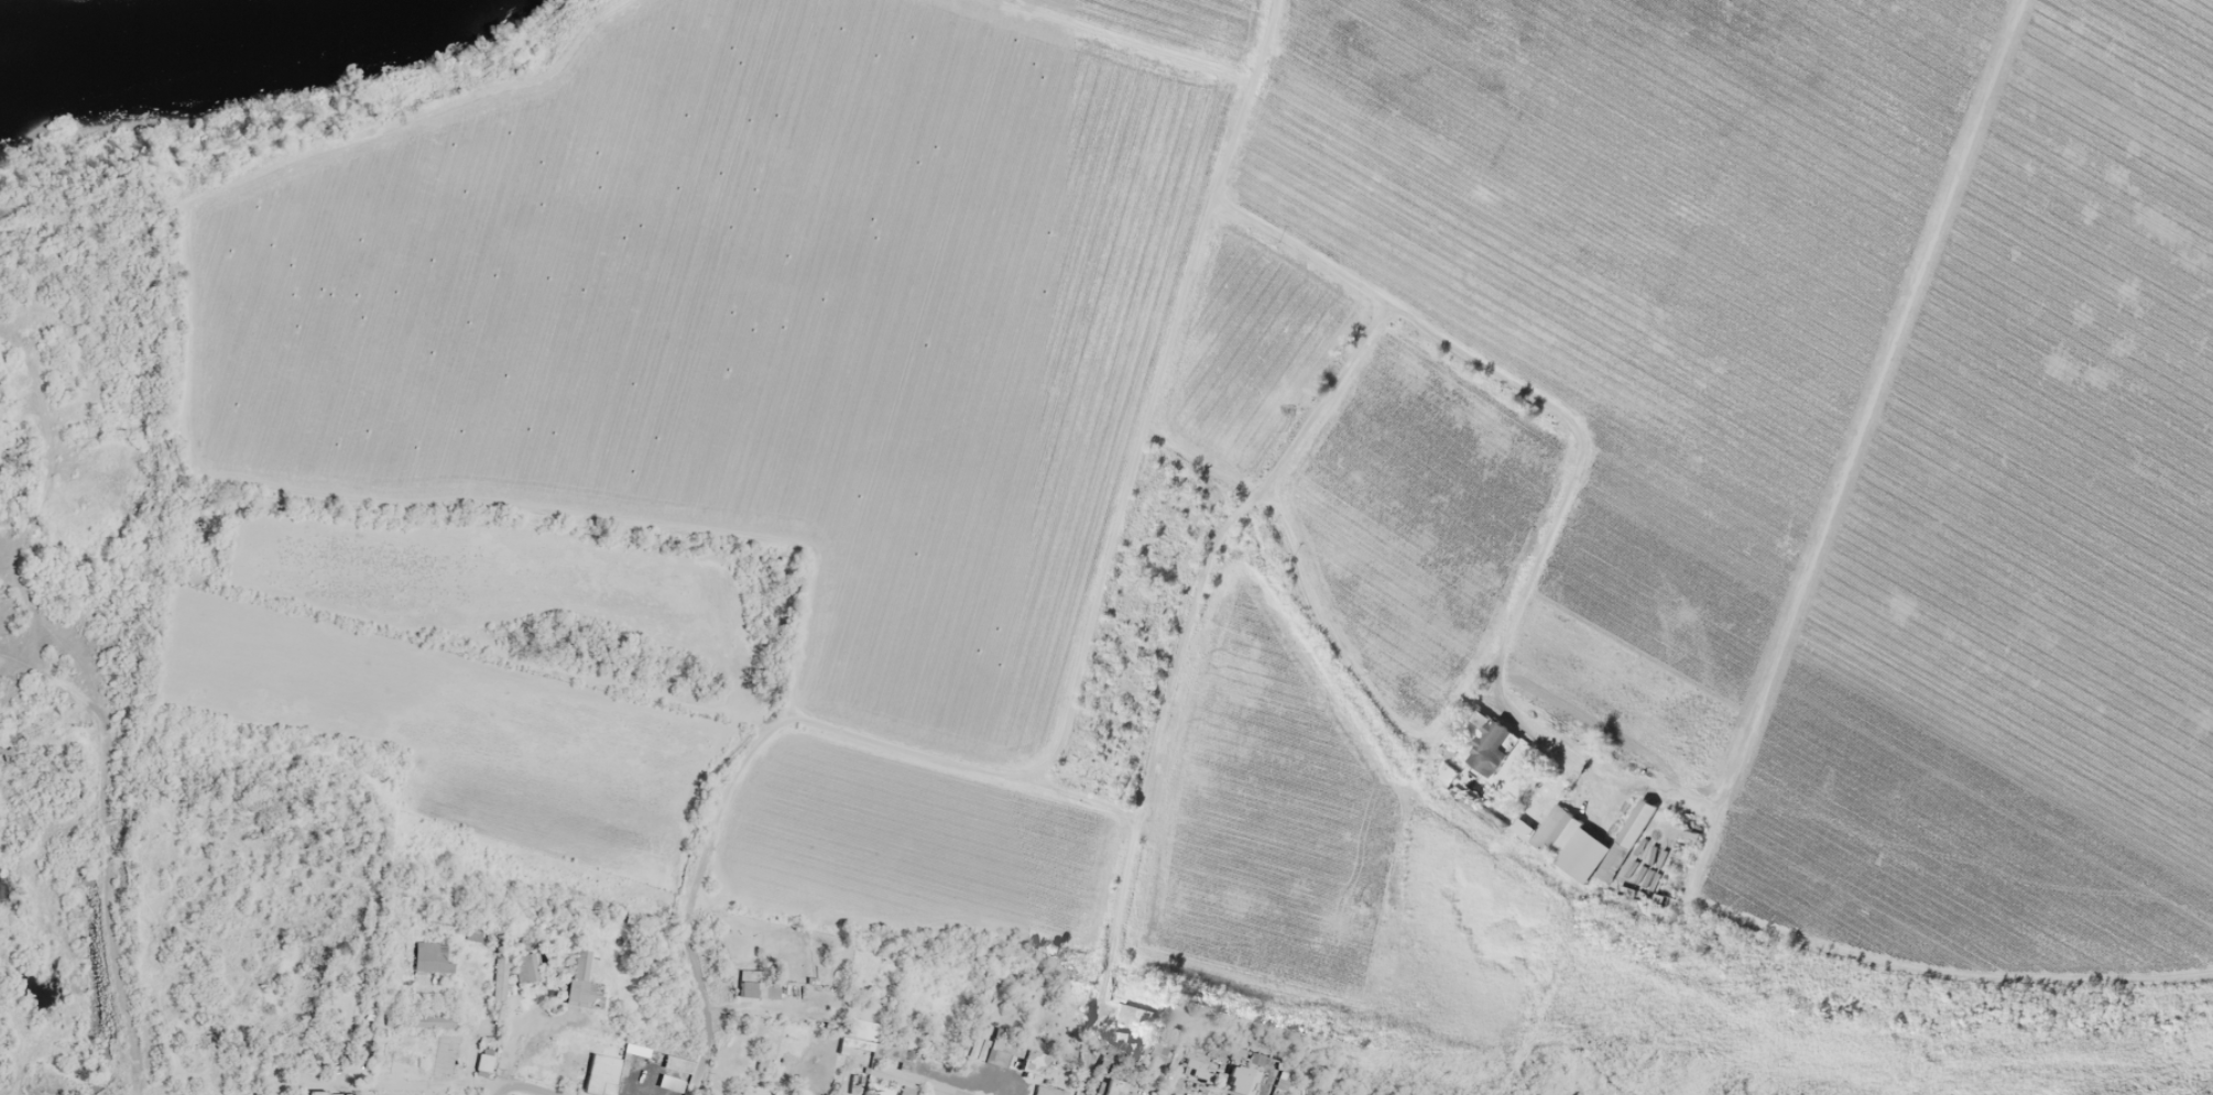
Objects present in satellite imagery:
river: (188, 39)
road: (1388, 710)
road: (1155, 746)
road: (962, 766)
road: (693, 897)
road: (101, 906)
building: (569, 977)
building: (493, 982)
road: (762, 1008)
building: (432, 1021)
road: (1086, 1052)
road: (1169, 1075)
road: (405, 1085)
road: (268, 1087)
road: (495, 1092)

